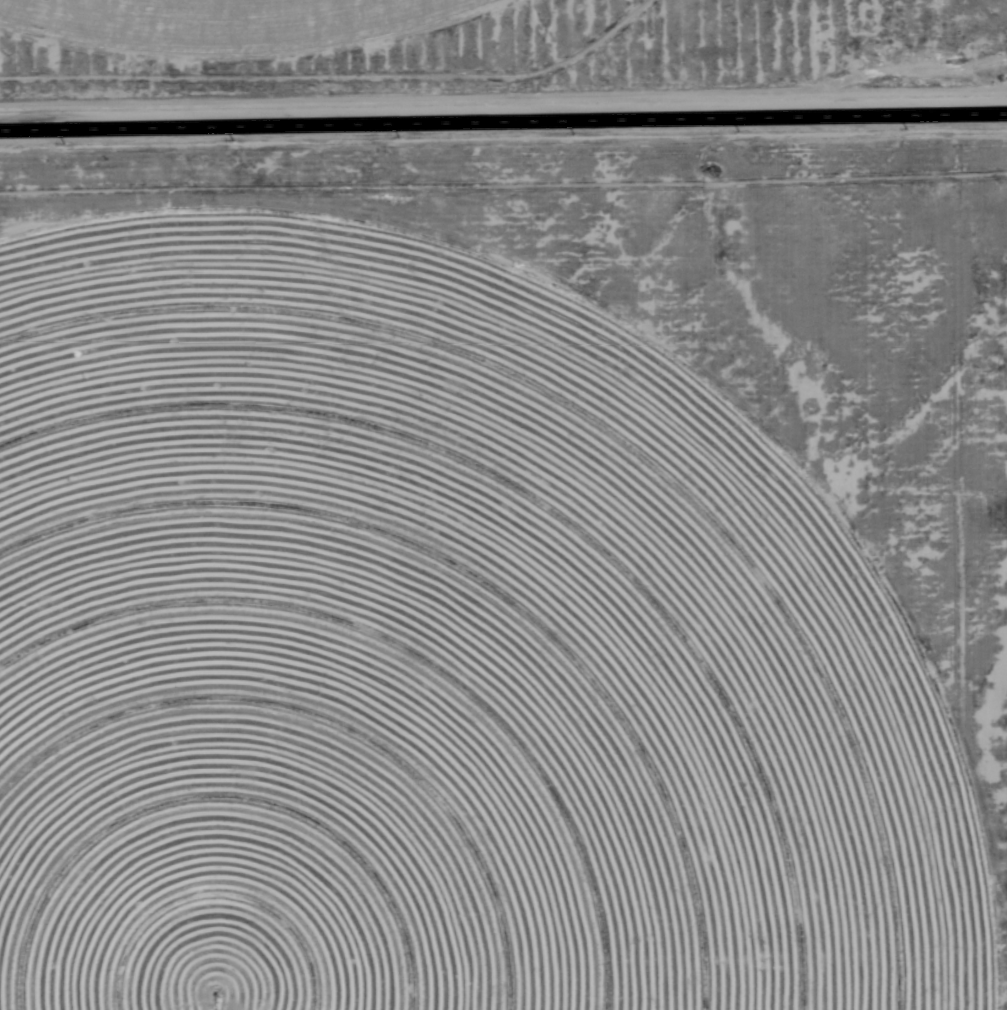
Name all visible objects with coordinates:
crop: (206, 17)
road: (503, 119)
crop: (430, 660)

